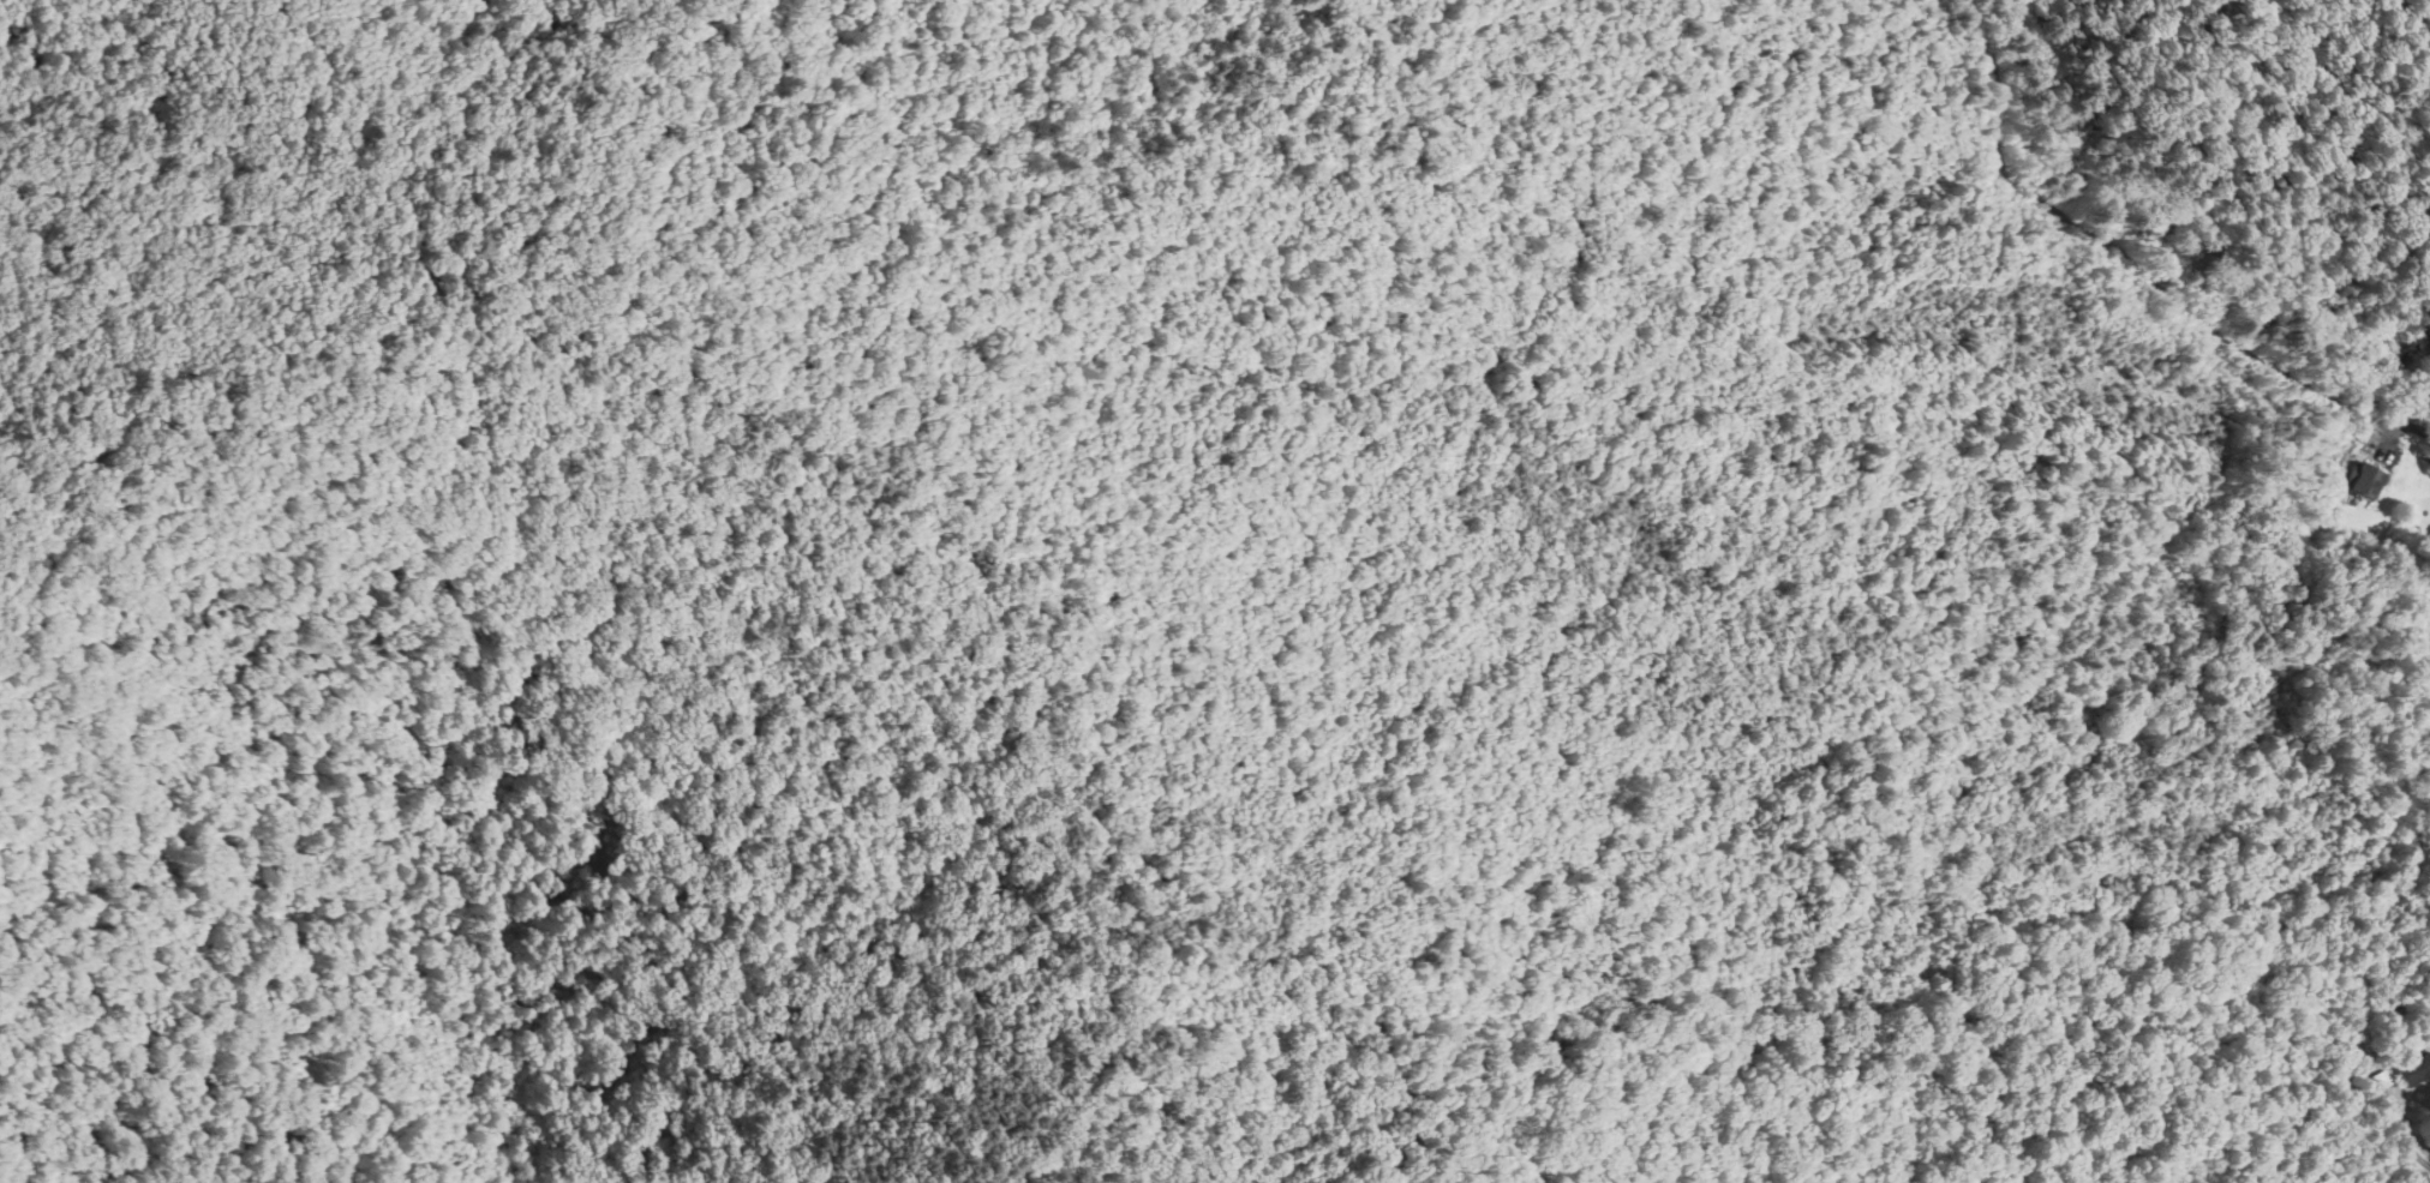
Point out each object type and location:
road: (2118, 299)
building: (2359, 482)
building: (2411, 1070)

